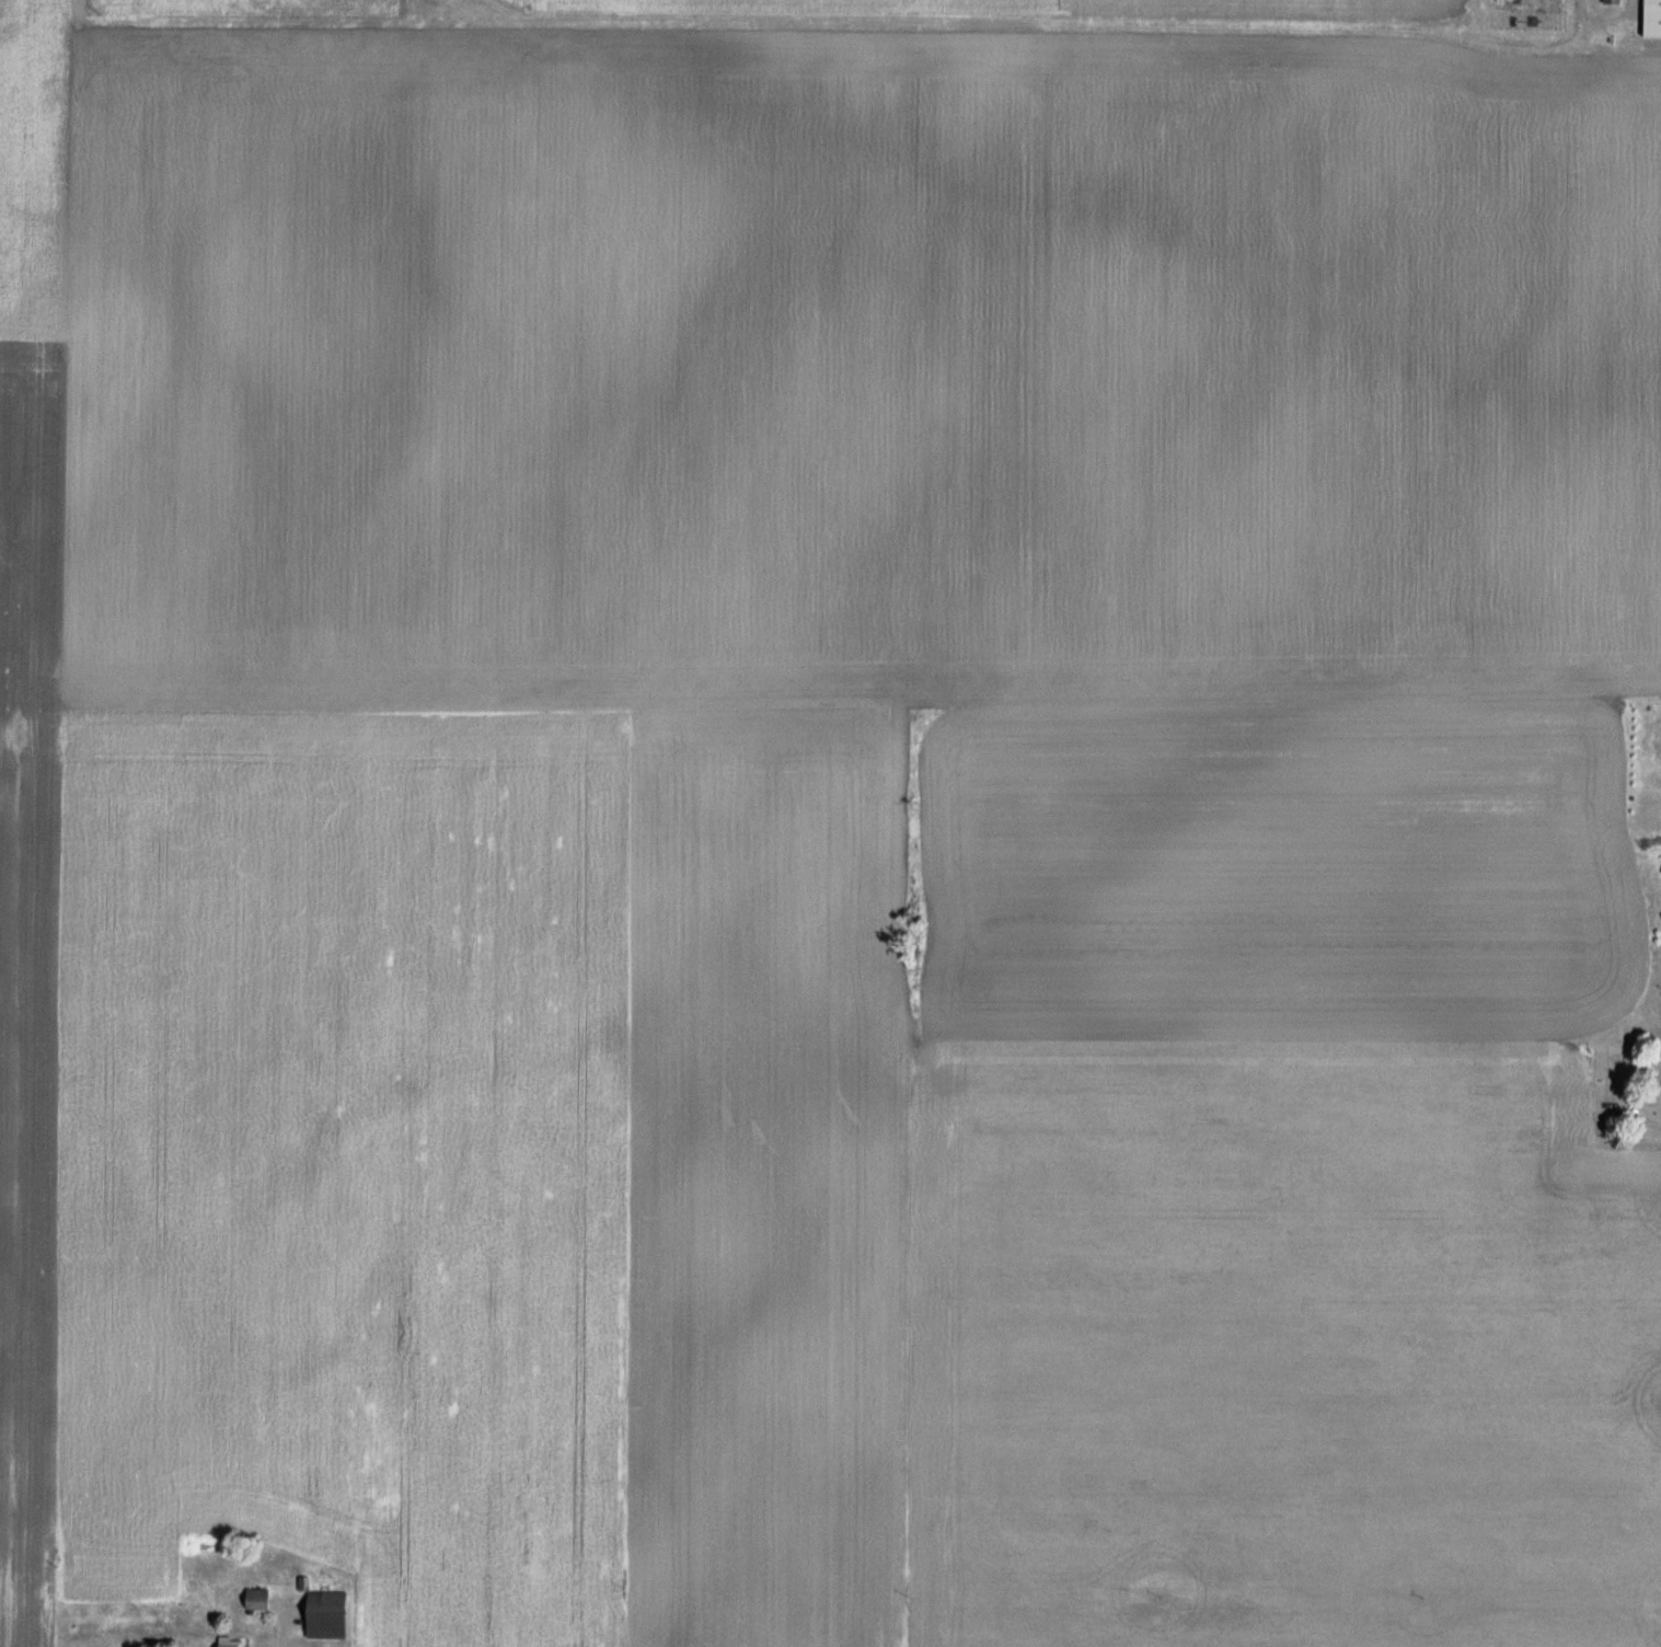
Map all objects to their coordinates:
building: (1503, 3)
building: (1656, 18)
building: (259, 1598)
building: (332, 1613)
building: (233, 1642)

